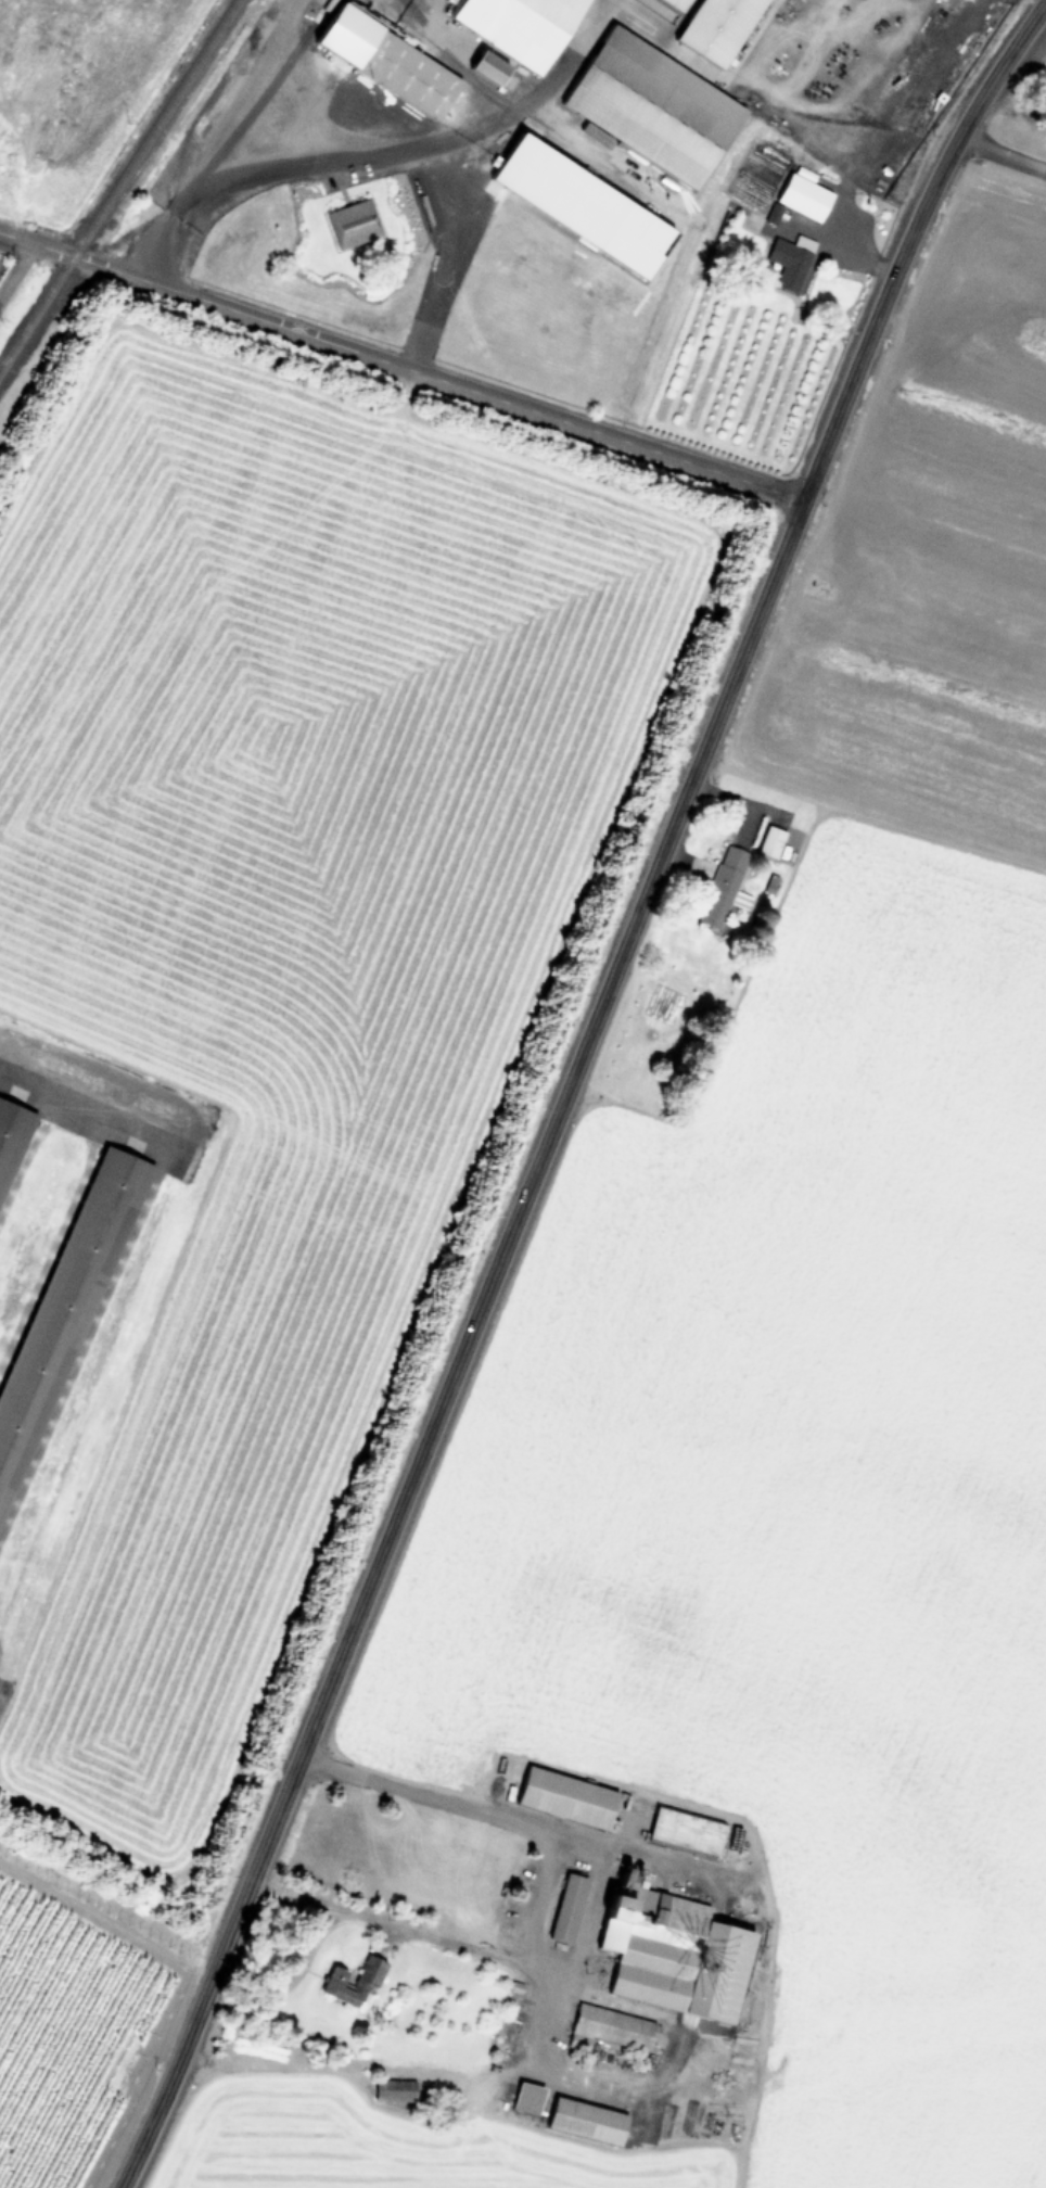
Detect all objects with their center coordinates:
building: (678, 3)
road: (1036, 13)
building: (518, 26)
building: (718, 28)
building: (496, 74)
building: (407, 75)
crop: (73, 90)
building: (652, 106)
road: (1005, 144)
road: (366, 150)
road: (840, 182)
railway: (117, 183)
building: (803, 198)
building: (353, 224)
building: (789, 263)
road: (16, 272)
crop: (14, 284)
road: (401, 367)
building: (770, 841)
building: (724, 886)
road: (561, 1102)
building: (9, 1130)
crop: (551, 1263)
road: (118, 1265)
building: (58, 1310)
building: (566, 1797)
building: (686, 1831)
road: (537, 1908)
building: (567, 1909)
building: (672, 1952)
building: (349, 1984)
building: (611, 2028)
crop: (64, 2033)
building: (526, 2098)
building: (586, 2121)

